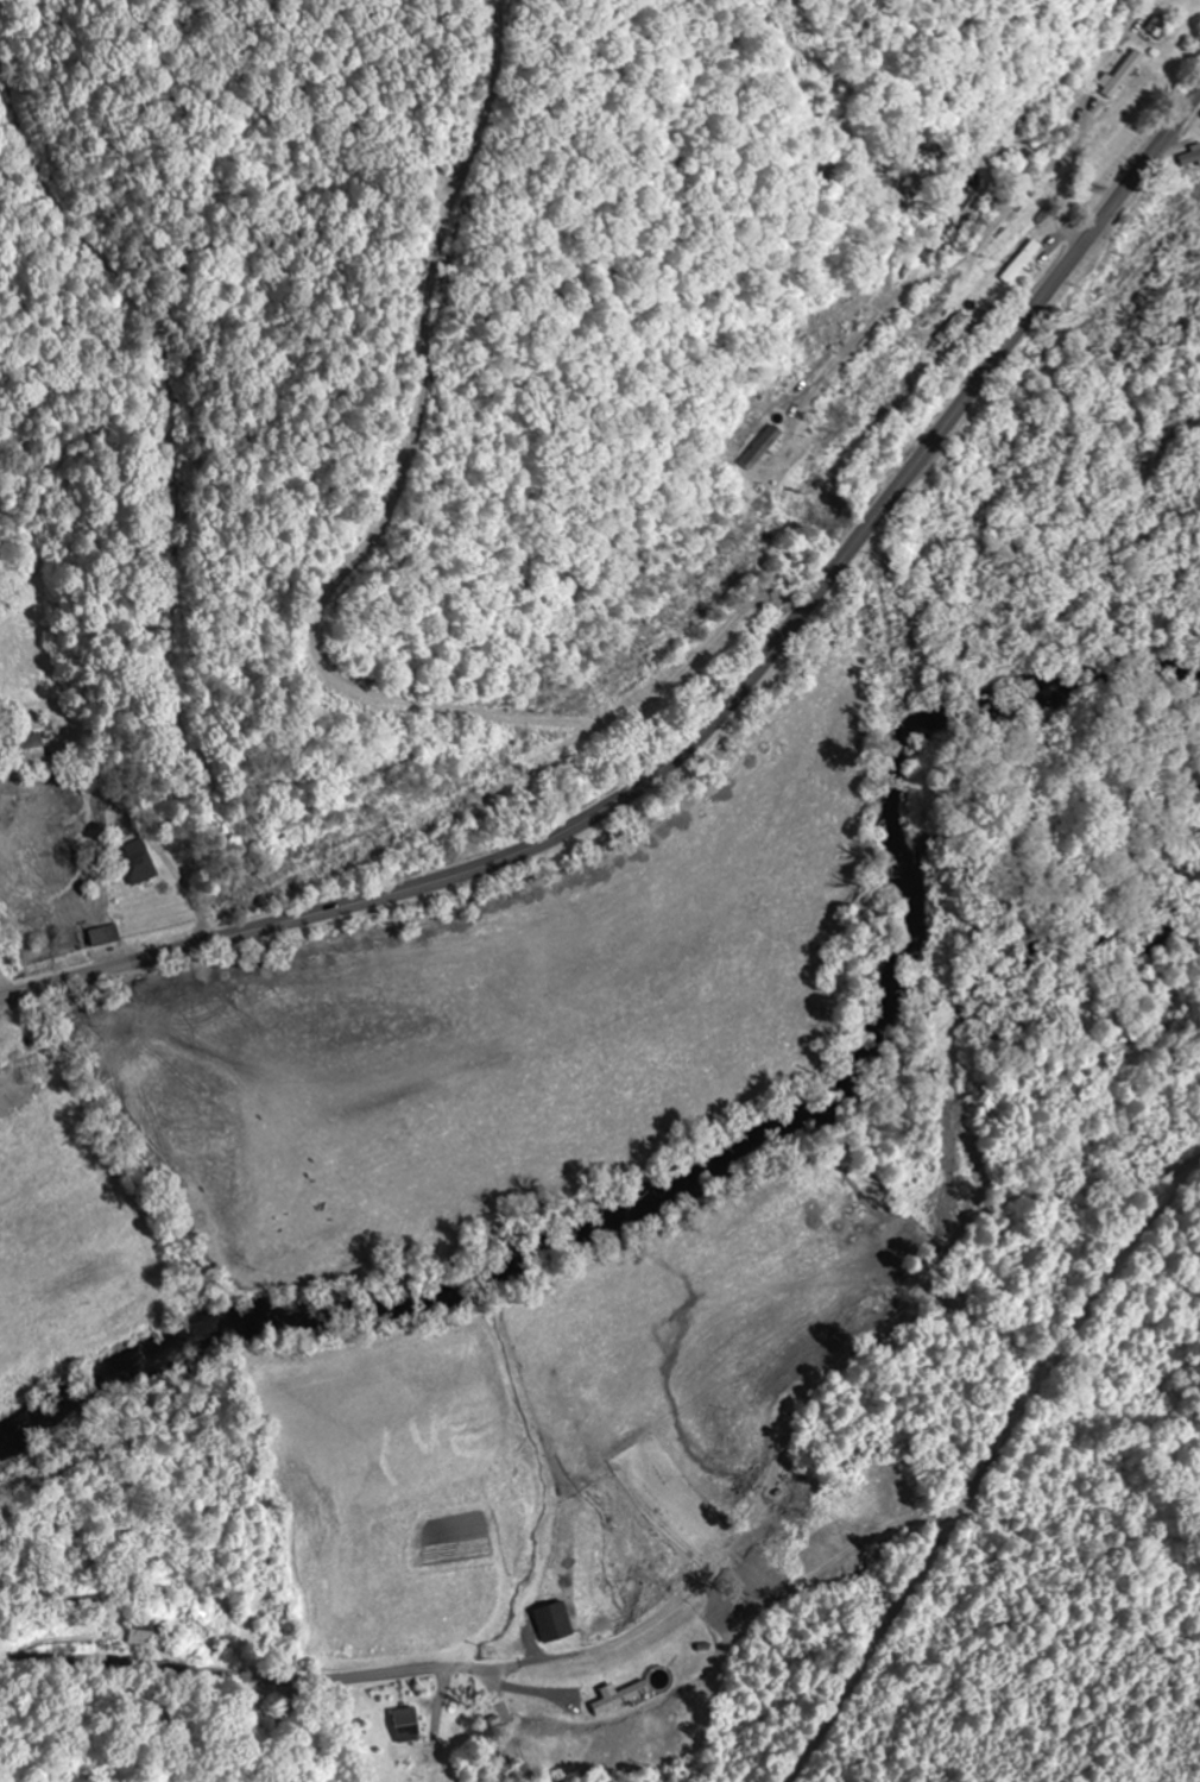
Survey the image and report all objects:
building: (1122, 76)
building: (1192, 159)
building: (1022, 264)
building: (955, 329)
building: (768, 449)
road: (716, 709)
building: (33, 749)
building: (140, 864)
park: (669, 1496)
road: (690, 1587)
building: (556, 1623)
building: (143, 1638)
building: (621, 1696)
building: (409, 1725)

